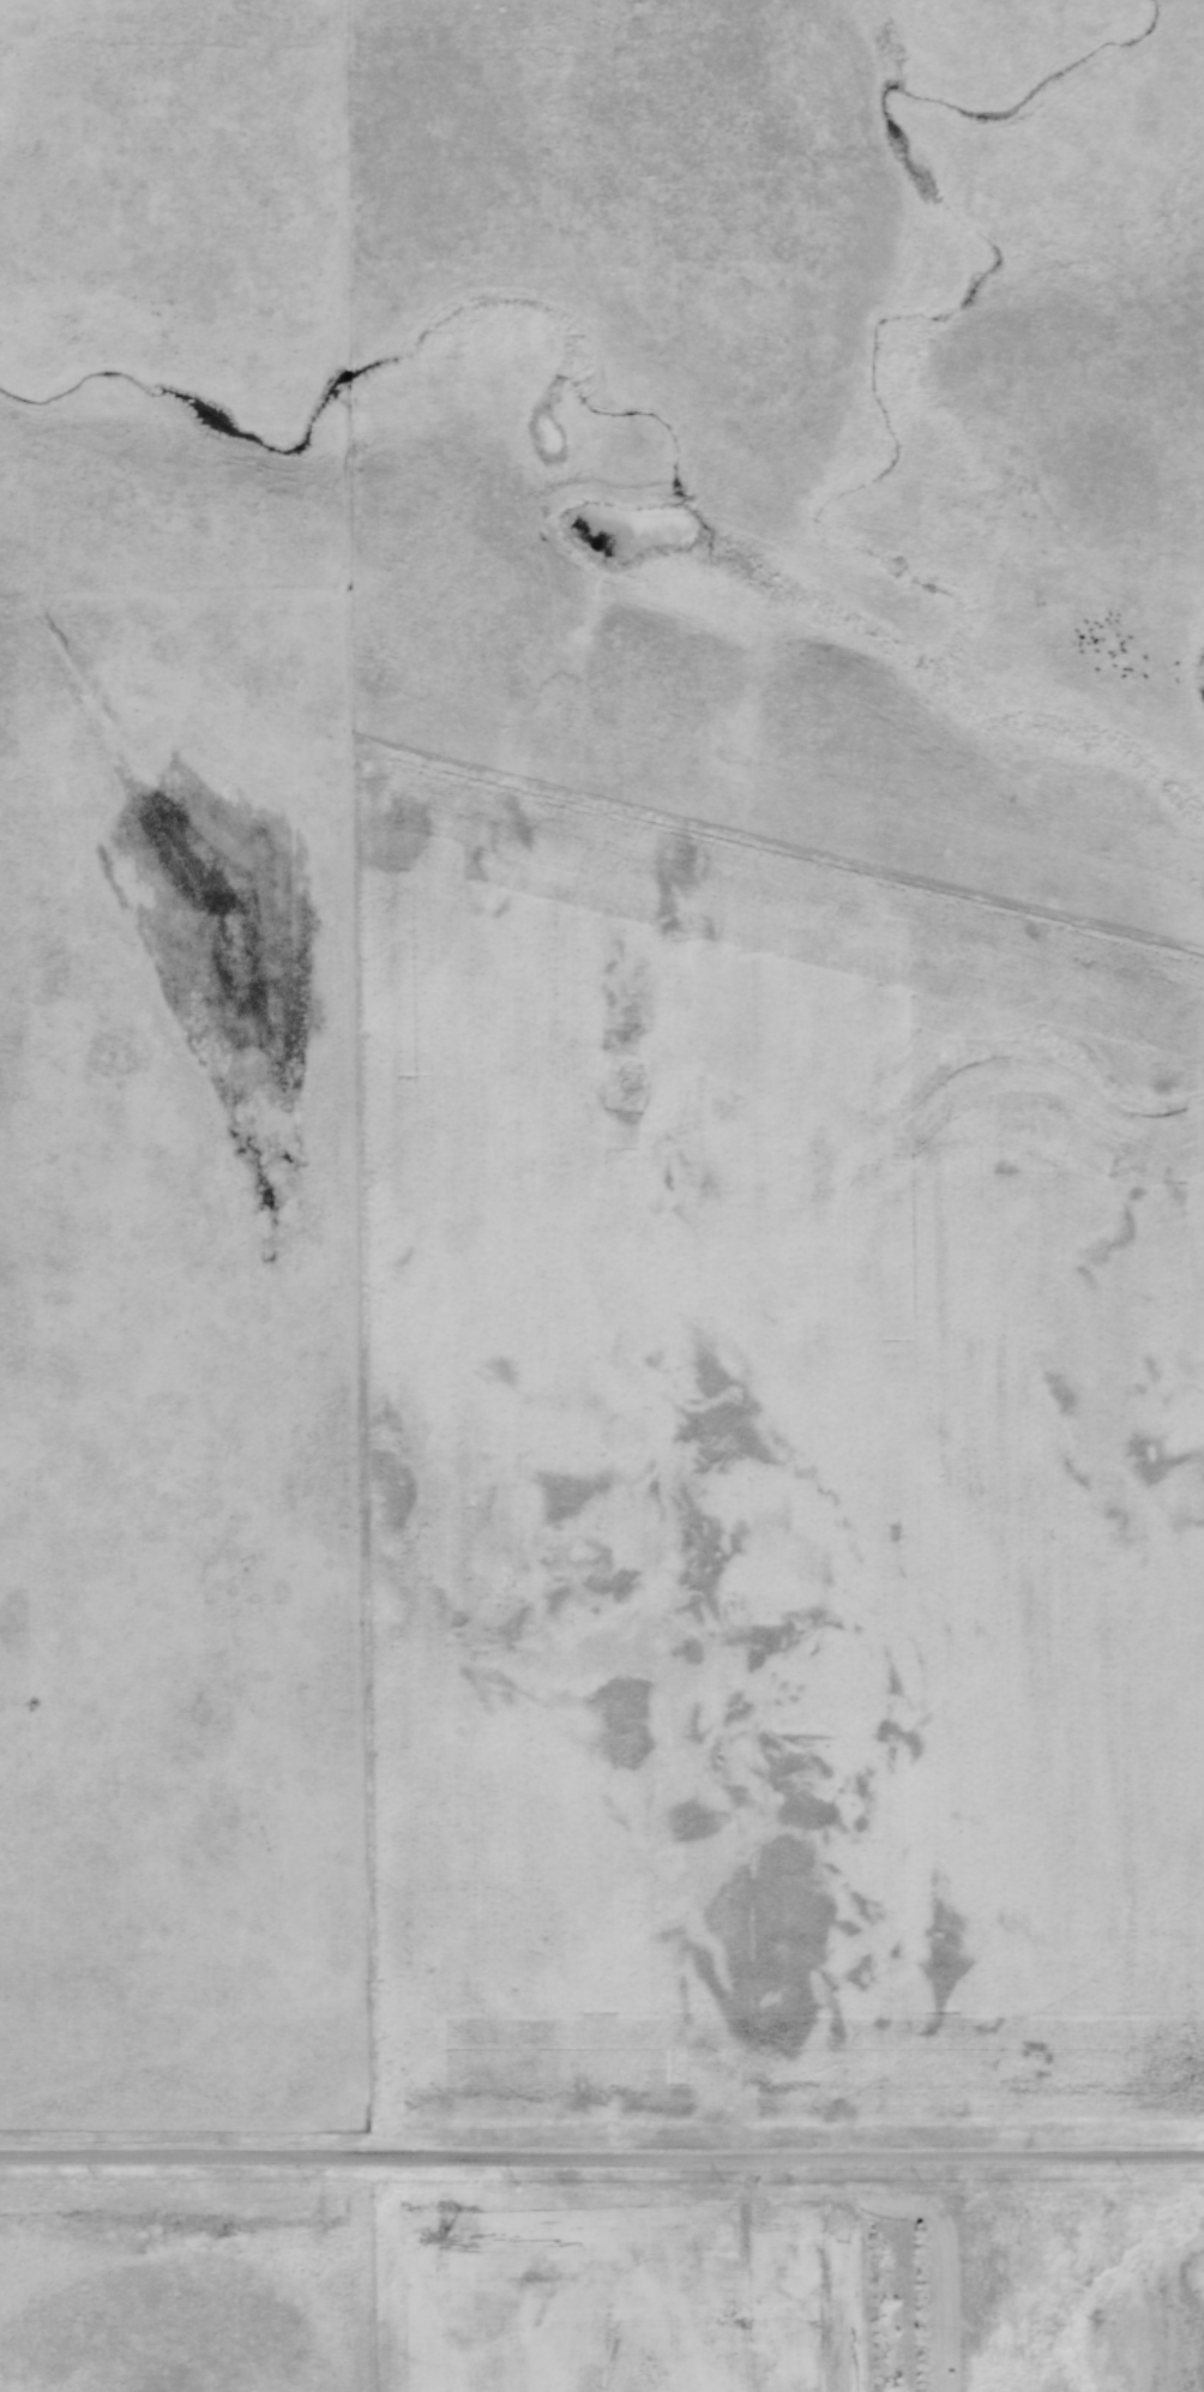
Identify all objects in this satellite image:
road: (602, 2159)

